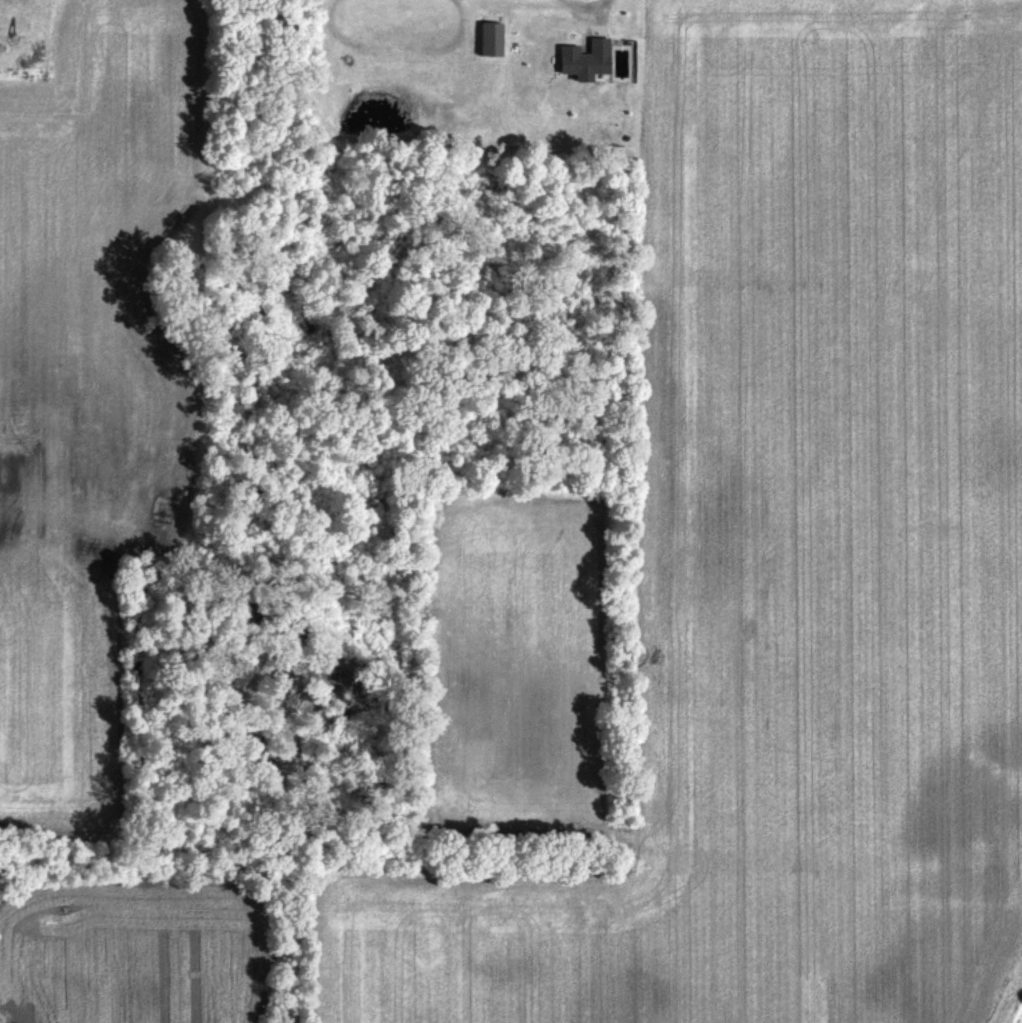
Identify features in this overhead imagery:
building: (493, 41)
building: (588, 61)

